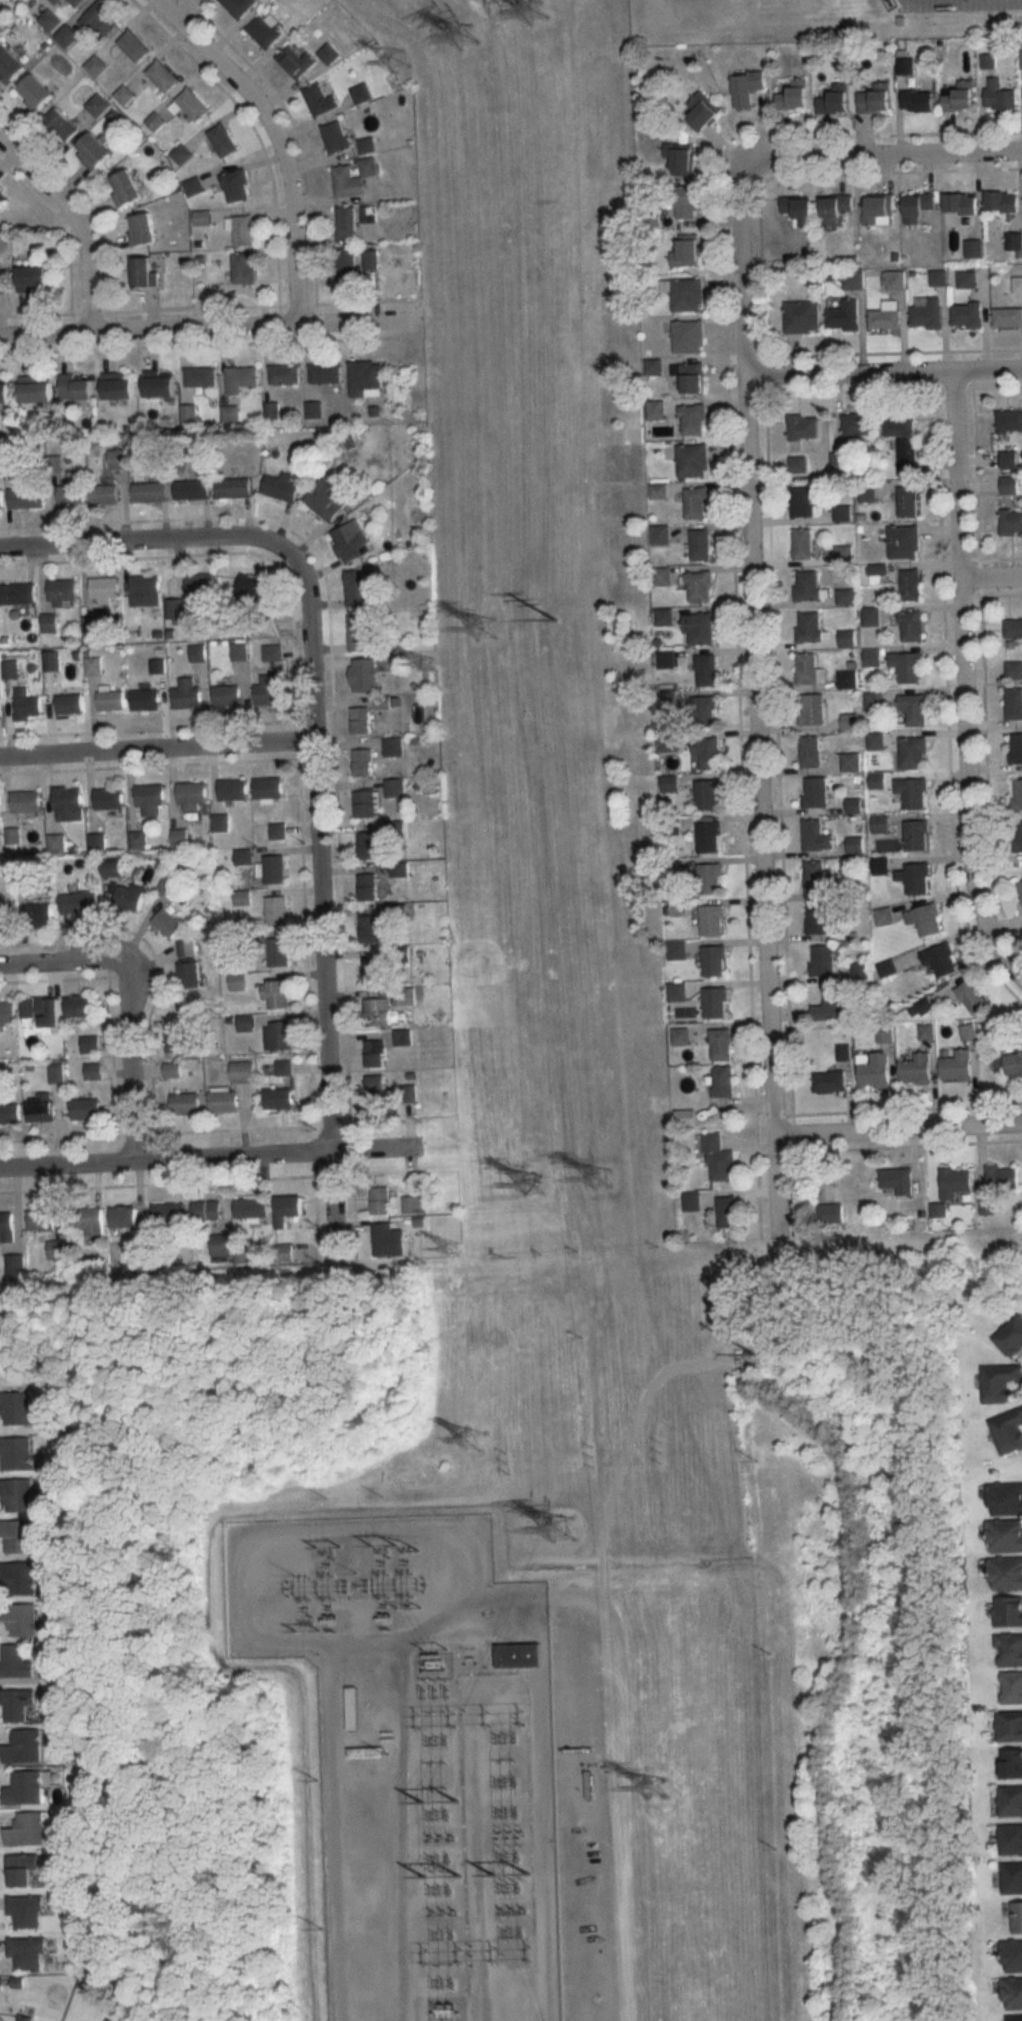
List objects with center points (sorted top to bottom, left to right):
building: (58, 1)
building: (76, 2)
building: (239, 6)
power tower: (533, 9)
building: (50, 19)
building: (100, 19)
building: (264, 31)
power tower: (471, 39)
building: (133, 46)
building: (329, 53)
building: (296, 61)
power tower: (395, 63)
building: (11, 64)
building: (162, 76)
building: (747, 86)
building: (912, 90)
building: (35, 92)
building: (361, 93)
building: (795, 95)
building: (1000, 95)
building: (961, 97)
building: (876, 98)
building: (320, 99)
building: (836, 100)
building: (190, 105)
building: (702, 111)
building: (62, 124)
building: (335, 136)
building: (223, 140)
road: (276, 140)
building: (366, 145)
building: (94, 151)
road: (885, 152)
building: (681, 160)
building: (353, 178)
building: (236, 185)
building: (126, 188)
building: (2, 199)
building: (688, 201)
building: (1002, 201)
building: (961, 202)
building: (919, 206)
building: (836, 208)
building: (800, 210)
building: (879, 210)
building: (366, 213)
building: (202, 217)
road: (78, 220)
building: (346, 221)
building: (142, 229)
building: (1015, 241)
building: (687, 253)
building: (346, 263)
building: (243, 267)
building: (144, 272)
building: (939, 277)
building: (33, 278)
building: (967, 279)
building: (853, 280)
building: (895, 280)
building: (4, 285)
building: (685, 294)
building: (928, 314)
building: (844, 315)
building: (968, 315)
building: (886, 316)
building: (802, 317)
building: (1008, 317)
road: (208, 329)
building: (689, 337)
road: (884, 372)
building: (325, 373)
building: (285, 374)
building: (200, 377)
building: (692, 377)
building: (240, 379)
building: (366, 379)
building: (119, 386)
building: (161, 387)
building: (75, 388)
building: (36, 390)
building: (4, 392)
building: (694, 420)
building: (1009, 421)
building: (858, 425)
building: (804, 427)
building: (904, 440)
building: (116, 459)
building: (1009, 460)
building: (693, 461)
building: (798, 464)
building: (1010, 484)
building: (234, 487)
building: (281, 487)
building: (192, 489)
building: (150, 492)
building: (866, 492)
building: (73, 493)
building: (105, 495)
building: (26, 496)
building: (1, 498)
building: (327, 499)
building: (802, 501)
building: (908, 501)
building: (697, 503)
building: (843, 513)
building: (1011, 522)
building: (350, 540)
building: (905, 542)
building: (804, 543)
building: (701, 545)
road: (144, 546)
road: (990, 577)
building: (202, 584)
building: (807, 585)
building: (912, 585)
building: (359, 586)
building: (700, 586)
building: (249, 589)
building: (104, 590)
building: (61, 591)
building: (145, 591)
building: (17, 593)
building: (175, 609)
building: (665, 617)
building: (49, 623)
building: (91, 626)
building: (810, 626)
building: (913, 627)
building: (700, 628)
building: (1013, 628)
power tower: (497, 630)
building: (358, 633)
power tower: (559, 635)
building: (849, 639)
building: (239, 651)
building: (272, 652)
building: (197, 653)
building: (51, 661)
building: (95, 664)
power tower: (426, 666)
building: (909, 666)
building: (810, 669)
building: (707, 670)
building: (1014, 670)
building: (363, 676)
building: (849, 680)
road: (959, 685)
building: (270, 689)
building: (186, 694)
building: (226, 695)
road: (756, 697)
building: (145, 699)
building: (110, 700)
building: (383, 702)
building: (69, 703)
building: (1014, 703)
building: (27, 704)
building: (915, 708)
building: (814, 709)
building: (704, 711)
building: (360, 720)
building: (851, 721)
building: (393, 747)
building: (1016, 747)
road: (157, 750)
building: (705, 751)
building: (812, 751)
building: (914, 752)
building: (362, 762)
building: (852, 762)
building: (268, 787)
building: (394, 788)
building: (232, 789)
building: (817, 792)
building: (914, 792)
building: (1018, 793)
building: (191, 795)
building: (708, 795)
building: (108, 798)
building: (150, 799)
building: (25, 801)
building: (67, 803)
building: (365, 804)
building: (854, 805)
building: (277, 831)
building: (918, 835)
building: (817, 836)
building: (1019, 836)
building: (179, 837)
building: (709, 837)
building: (137, 839)
building: (366, 846)
building: (112, 868)
building: (273, 870)
building: (818, 878)
building: (916, 878)
building: (710, 879)
building: (1020, 885)
building: (170, 887)
building: (367, 888)
building: (129, 898)
building: (79, 901)
road: (320, 904)
building: (275, 911)
building: (39, 914)
building: (6, 916)
building: (884, 916)
building: (818, 919)
building: (926, 919)
building: (713, 921)
building: (167, 923)
building: (372, 928)
building: (186, 949)
building: (677, 951)
building: (278, 952)
building: (944, 960)
building: (715, 961)
building: (823, 961)
building: (887, 968)
building: (372, 970)
building: (190, 975)
building: (677, 992)
building: (276, 994)
building: (406, 996)
building: (972, 996)
building: (716, 1002)
building: (832, 1005)
building: (79, 1007)
road: (127, 1007)
building: (42, 1010)
building: (7, 1011)
building: (377, 1012)
building: (969, 1033)
building: (278, 1035)
building: (403, 1037)
building: (177, 1039)
building: (89, 1044)
building: (722, 1044)
building: (843, 1052)
building: (375, 1053)
building: (1014, 1064)
building: (959, 1066)
building: (283, 1068)
building: (172, 1070)
building: (917, 1070)
building: (876, 1071)
building: (93, 1072)
building: (241, 1072)
building: (724, 1081)
building: (830, 1081)
building: (377, 1088)
building: (408, 1093)
building: (278, 1096)
building: (223, 1101)
building: (185, 1104)
building: (40, 1109)
building: (85, 1109)
building: (9, 1113)
road: (896, 1128)
road: (209, 1159)
building: (720, 1160)
power tower: (605, 1177)
building: (1002, 1177)
building: (898, 1181)
building: (956, 1183)
power tower: (539, 1188)
building: (381, 1201)
building: (411, 1205)
building: (713, 1206)
building: (251, 1208)
building: (288, 1208)
building: (206, 1210)
building: (169, 1212)
building: (835, 1212)
building: (124, 1216)
building: (40, 1219)
building: (87, 1220)
building: (6, 1225)
building: (383, 1239)
building: (56, 1249)
power tower: (453, 1250)
building: (1011, 1336)
building: (1000, 1382)
building: (15, 1407)
building: (1008, 1430)
power tower: (472, 1440)
building: (15, 1452)
building: (16, 1494)
power tower: (325, 1496)
building: (1005, 1498)
power tower: (566, 1523)
building: (17, 1535)
building: (1005, 1535)
building: (1005, 1572)
building: (17, 1578)
building: (1008, 1610)
road: (491, 1617)
building: (19, 1618)
building: (1009, 1649)
building: (517, 1652)
building: (14, 1661)
building: (47, 1662)
building: (1012, 1687)
building: (16, 1704)
building: (353, 1708)
building: (1009, 1726)
building: (23, 1746)
power substation: (420, 1758)
building: (1012, 1763)
power tower: (661, 1783)
building: (24, 1787)
building: (1011, 1801)
building: (26, 1829)
building: (1011, 1840)
building: (20, 1870)
building: (1012, 1878)
building: (24, 1911)
building: (1017, 1917)
building: (26, 1953)
building: (1012, 1956)
building: (1013, 1993)
building: (445, 2015)
building: (1014, 2017)
building: (23, 2018)

